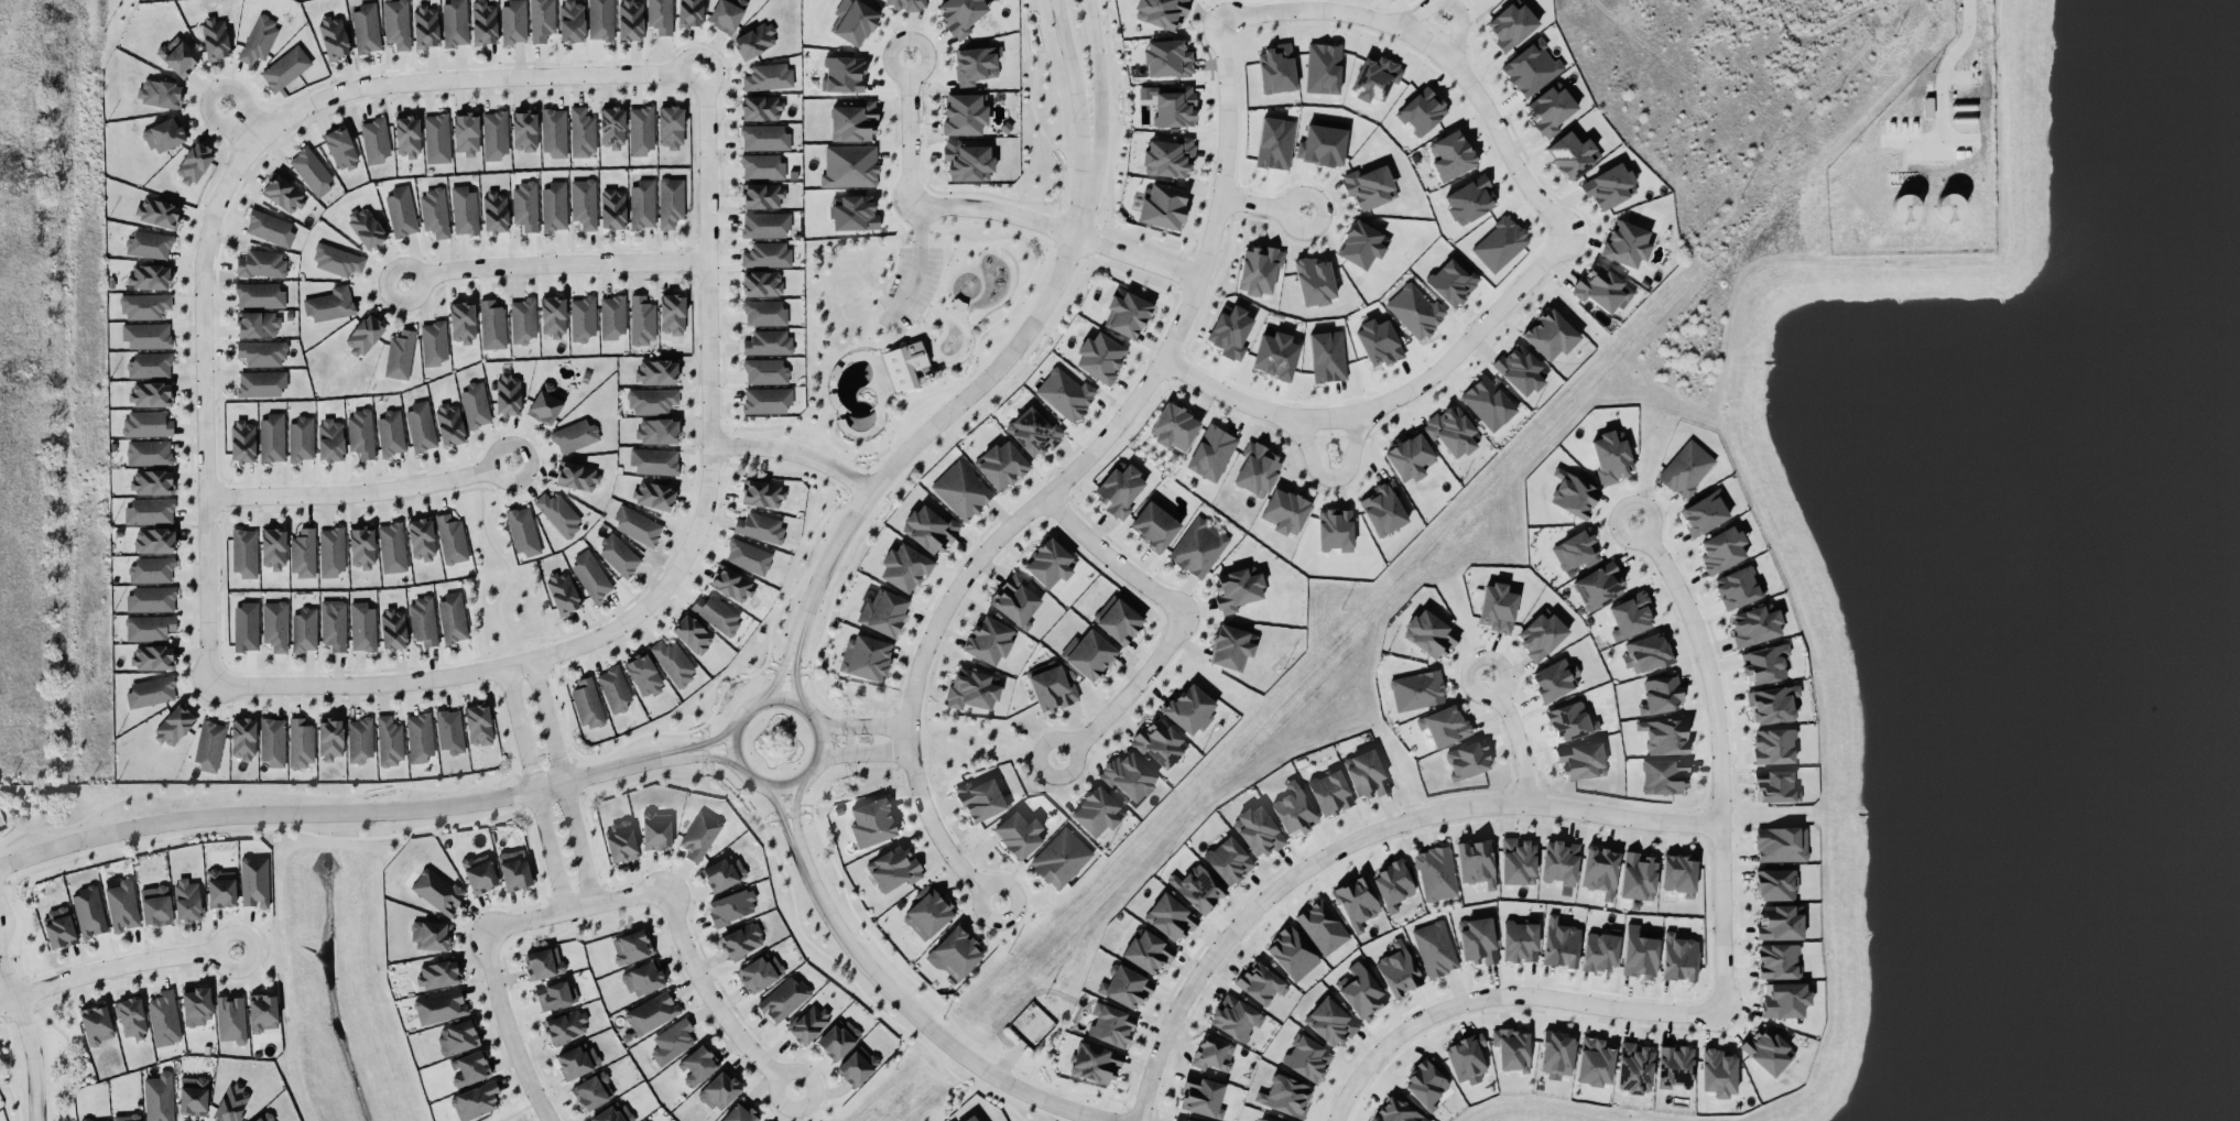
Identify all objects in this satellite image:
road: (1453, 2)
building: (906, 4)
building: (689, 12)
building: (1161, 12)
building: (727, 13)
building: (960, 14)
building: (660, 15)
building: (600, 19)
building: (630, 19)
building: (541, 20)
building: (572, 20)
building: (513, 21)
building: (853, 21)
building: (455, 22)
building: (483, 22)
building: (396, 23)
building: (1511, 24)
building: (425, 25)
building: (366, 28)
building: (334, 35)
building: (215, 37)
building: (259, 39)
building: (754, 40)
road: (1438, 51)
building: (177, 56)
building: (1167, 57)
road: (1097, 58)
road: (1070, 59)
building: (976, 64)
building: (285, 67)
building: (1323, 67)
building: (1531, 67)
building: (1275, 68)
building: (844, 73)
building: (768, 76)
building: (1374, 77)
road: (475, 78)
building: (160, 92)
building: (1927, 106)
building: (761, 107)
building: (1175, 107)
building: (1551, 108)
building: (1422, 111)
building: (964, 113)
building: (853, 121)
road: (242, 122)
building: (611, 127)
building: (671, 127)
building: (524, 129)
building: (641, 129)
building: (554, 131)
building: (581, 131)
building: (466, 132)
building: (164, 134)
building: (494, 134)
building: (406, 135)
building: (764, 137)
building: (436, 138)
building: (374, 140)
building: (1274, 142)
building: (1324, 142)
building: (340, 149)
building: (1573, 153)
building: (1451, 154)
building: (1168, 156)
building: (967, 161)
building: (194, 162)
building: (849, 165)
building: (762, 166)
building: (312, 170)
building: (1609, 185)
building: (1370, 186)
building: (283, 194)
building: (762, 195)
building: (1469, 199)
building: (670, 200)
building: (584, 203)
building: (642, 204)
building: (524, 205)
road: (1263, 205)
building: (554, 206)
building: (1163, 206)
building: (1948, 206)
building: (1904, 207)
building: (612, 208)
road: (986, 209)
building: (401, 210)
building: (464, 210)
building: (494, 210)
building: (157, 211)
building: (434, 211)
building: (853, 213)
building: (765, 225)
building: (269, 227)
building: (366, 227)
building: (1499, 243)
building: (1627, 243)
building: (148, 244)
building: (1362, 244)
building: (766, 254)
building: (337, 259)
building: (261, 263)
road: (555, 264)
road: (918, 264)
building: (1259, 269)
building: (149, 276)
building: (1314, 281)
building: (1451, 281)
building: (761, 283)
building: (1602, 289)
building: (259, 295)
building: (329, 304)
building: (144, 305)
building: (1415, 311)
building: (764, 312)
building: (1127, 313)
building: (672, 314)
building: (553, 316)
building: (612, 316)
building: (583, 318)
building: (523, 319)
building: (642, 319)
building: (461, 322)
road: (708, 322)
building: (258, 324)
building: (492, 325)
building: (1230, 330)
building: (1551, 334)
building: (146, 335)
building: (363, 335)
building: (768, 341)
building: (1378, 341)
building: (433, 342)
building: (262, 352)
road: (204, 355)
building: (400, 355)
building: (1276, 355)
building: (1327, 356)
building: (1100, 357)
building: (150, 364)
building: (1521, 369)
building: (764, 370)
building: (655, 371)
building: (261, 382)
road: (982, 383)
building: (150, 393)
building: (1065, 393)
building: (508, 394)
road: (1394, 399)
building: (652, 400)
building: (766, 400)
building: (1488, 402)
building: (545, 403)
building: (475, 404)
building: (146, 423)
building: (449, 423)
building: (421, 425)
building: (1175, 426)
building: (656, 429)
building: (1451, 431)
building: (1033, 432)
building: (360, 433)
building: (390, 433)
building: (574, 435)
building: (271, 437)
building: (301, 438)
building: (330, 438)
building: (242, 440)
building: (149, 451)
road: (794, 451)
building: (1211, 451)
building: (1611, 455)
building: (1410, 457)
building: (654, 460)
building: (1001, 464)
building: (1686, 468)
building: (1257, 469)
building: (577, 476)
road: (1334, 478)
road: (1065, 479)
building: (152, 481)
building: (961, 489)
building: (1119, 489)
road: (360, 492)
building: (763, 493)
building: (1573, 493)
building: (653, 494)
building: (1384, 508)
building: (149, 510)
building: (1285, 510)
building: (558, 512)
building: (1704, 512)
building: (1155, 523)
building: (637, 525)
building: (759, 526)
building: (928, 529)
building: (1335, 529)
building: (522, 531)
building: (421, 538)
building: (452, 538)
building: (154, 540)
building: (361, 546)
building: (1198, 546)
building: (392, 547)
building: (273, 548)
building: (1721, 549)
building: (331, 551)
building: (1576, 551)
building: (244, 552)
building: (303, 552)
building: (619, 555)
building: (748, 555)
road: (1112, 558)
building: (1050, 563)
building: (904, 567)
building: (151, 569)
building: (590, 574)
building: (731, 584)
building: (1598, 586)
building: (1237, 587)
building: (1738, 587)
building: (563, 591)
building: (151, 598)
building: (1015, 600)
building: (1497, 607)
building: (716, 612)
building: (883, 612)
building: (1630, 614)
building: (453, 617)
building: (423, 620)
building: (1119, 621)
building: (334, 623)
building: (275, 624)
building: (1755, 624)
building: (246, 625)
building: (362, 625)
building: (149, 627)
building: (393, 628)
building: (304, 629)
building: (692, 633)
building: (1429, 633)
building: (1541, 633)
road: (208, 634)
building: (989, 640)
building: (1232, 646)
building: (1646, 652)
road: (787, 655)
building: (1090, 655)
building: (152, 656)
building: (866, 657)
road: (797, 659)
building: (673, 661)
building: (1766, 662)
road: (459, 672)
building: (642, 674)
building: (1555, 679)
building: (613, 688)
building: (972, 688)
building: (1052, 688)
building: (1416, 689)
building: (151, 690)
road: (1130, 692)
building: (1660, 695)
building: (587, 701)
building: (1773, 704)
building: (1189, 709)
building: (1570, 720)
building: (478, 725)
road: (862, 725)
building: (1444, 725)
building: (173, 726)
building: (449, 730)
building: (1664, 734)
building: (420, 737)
road: (1519, 737)
building: (243, 738)
building: (330, 739)
building: (359, 739)
building: (272, 741)
building: (389, 741)
building: (1160, 741)
building: (301, 742)
road: (698, 742)
building: (209, 744)
building: (1773, 745)
road: (865, 751)
road: (697, 754)
road: (1721, 758)
building: (1467, 759)
building: (1581, 761)
building: (1366, 773)
road: (747, 775)
building: (1129, 775)
building: (1663, 775)
road: (564, 780)
road: (535, 786)
building: (1775, 786)
building: (1329, 792)
building: (983, 797)
building: (1294, 808)
road: (326, 809)
building: (1097, 812)
building: (872, 821)
road: (797, 827)
road: (787, 828)
building: (656, 830)
building: (1258, 830)
building: (1019, 832)
building: (699, 835)
road: (1358, 839)
building: (621, 840)
building: (1781, 844)
building: (1061, 858)
building: (1228, 860)
building: (1476, 861)
building: (1518, 861)
building: (1559, 861)
building: (894, 868)
building: (514, 869)
building: (1600, 870)
building: (479, 872)
building: (724, 872)
building: (1436, 873)
building: (1678, 874)
building: (1638, 877)
building: (253, 881)
building: (1393, 884)
building: (1775, 884)
building: (220, 886)
building: (1197, 888)
building: (436, 890)
building: (186, 899)
building: (1357, 902)
building: (121, 904)
building: (155, 904)
building: (731, 906)
road: (574, 907)
building: (88, 911)
building: (927, 912)
building: (1170, 917)
road: (6, 918)
building: (1780, 922)
building: (1322, 926)
building: (57, 927)
building: (431, 935)
building: (742, 940)
building: (1477, 940)
building: (1520, 940)
building: (1559, 943)
building: (631, 946)
building: (1435, 948)
building: (1599, 949)
building: (1148, 951)
building: (1640, 951)
building: (1292, 953)
building: (955, 954)
building: (1678, 957)
building: (1777, 960)
building: (543, 962)
road: (113, 966)
building: (1398, 969)
building: (759, 971)
building: (437, 972)
building: (643, 978)
building: (1260, 982)
building: (1128, 987)
building: (1361, 991)
building: (555, 994)
road: (1504, 994)
road: (713, 999)
building: (783, 999)
building: (1785, 999)
building: (196, 1004)
building: (439, 1006)
building: (262, 1011)
building: (651, 1012)
building: (131, 1017)
building: (164, 1017)
building: (1236, 1017)
building: (230, 1019)
building: (808, 1022)
building: (1329, 1022)
building: (96, 1023)
building: (1111, 1024)
building: (565, 1026)
road: (509, 1027)
road: (937, 1032)
building: (457, 1036)
road: (29, 1037)
building: (837, 1038)
building: (672, 1041)
building: (1511, 1048)
building: (1768, 1049)
building: (1213, 1052)
building: (1556, 1054)
building: (1466, 1057)
building: (1307, 1058)
building: (576, 1059)
building: (1595, 1062)
building: (1095, 1063)
building: (697, 1064)
building: (857, 1065)
building: (1675, 1066)
building: (1634, 1067)
building: (468, 1068)
building: (1718, 1073)
building: (1426, 1082)
building: (719, 1089)
building: (592, 1090)
building: (193, 1095)
building: (1201, 1096)
building: (1285, 1096)
building: (159, 1097)
building: (475, 1100)
building: (232, 1102)
building: (741, 1112)
building: (1398, 1112)
building: (612, 1113)
building: (127, 1117)
building: (263, 1117)
building: (968, 1118)
building: (1266, 1119)
building: (105, 1120)
building: (645, 1120)
building: (1184, 1120)

